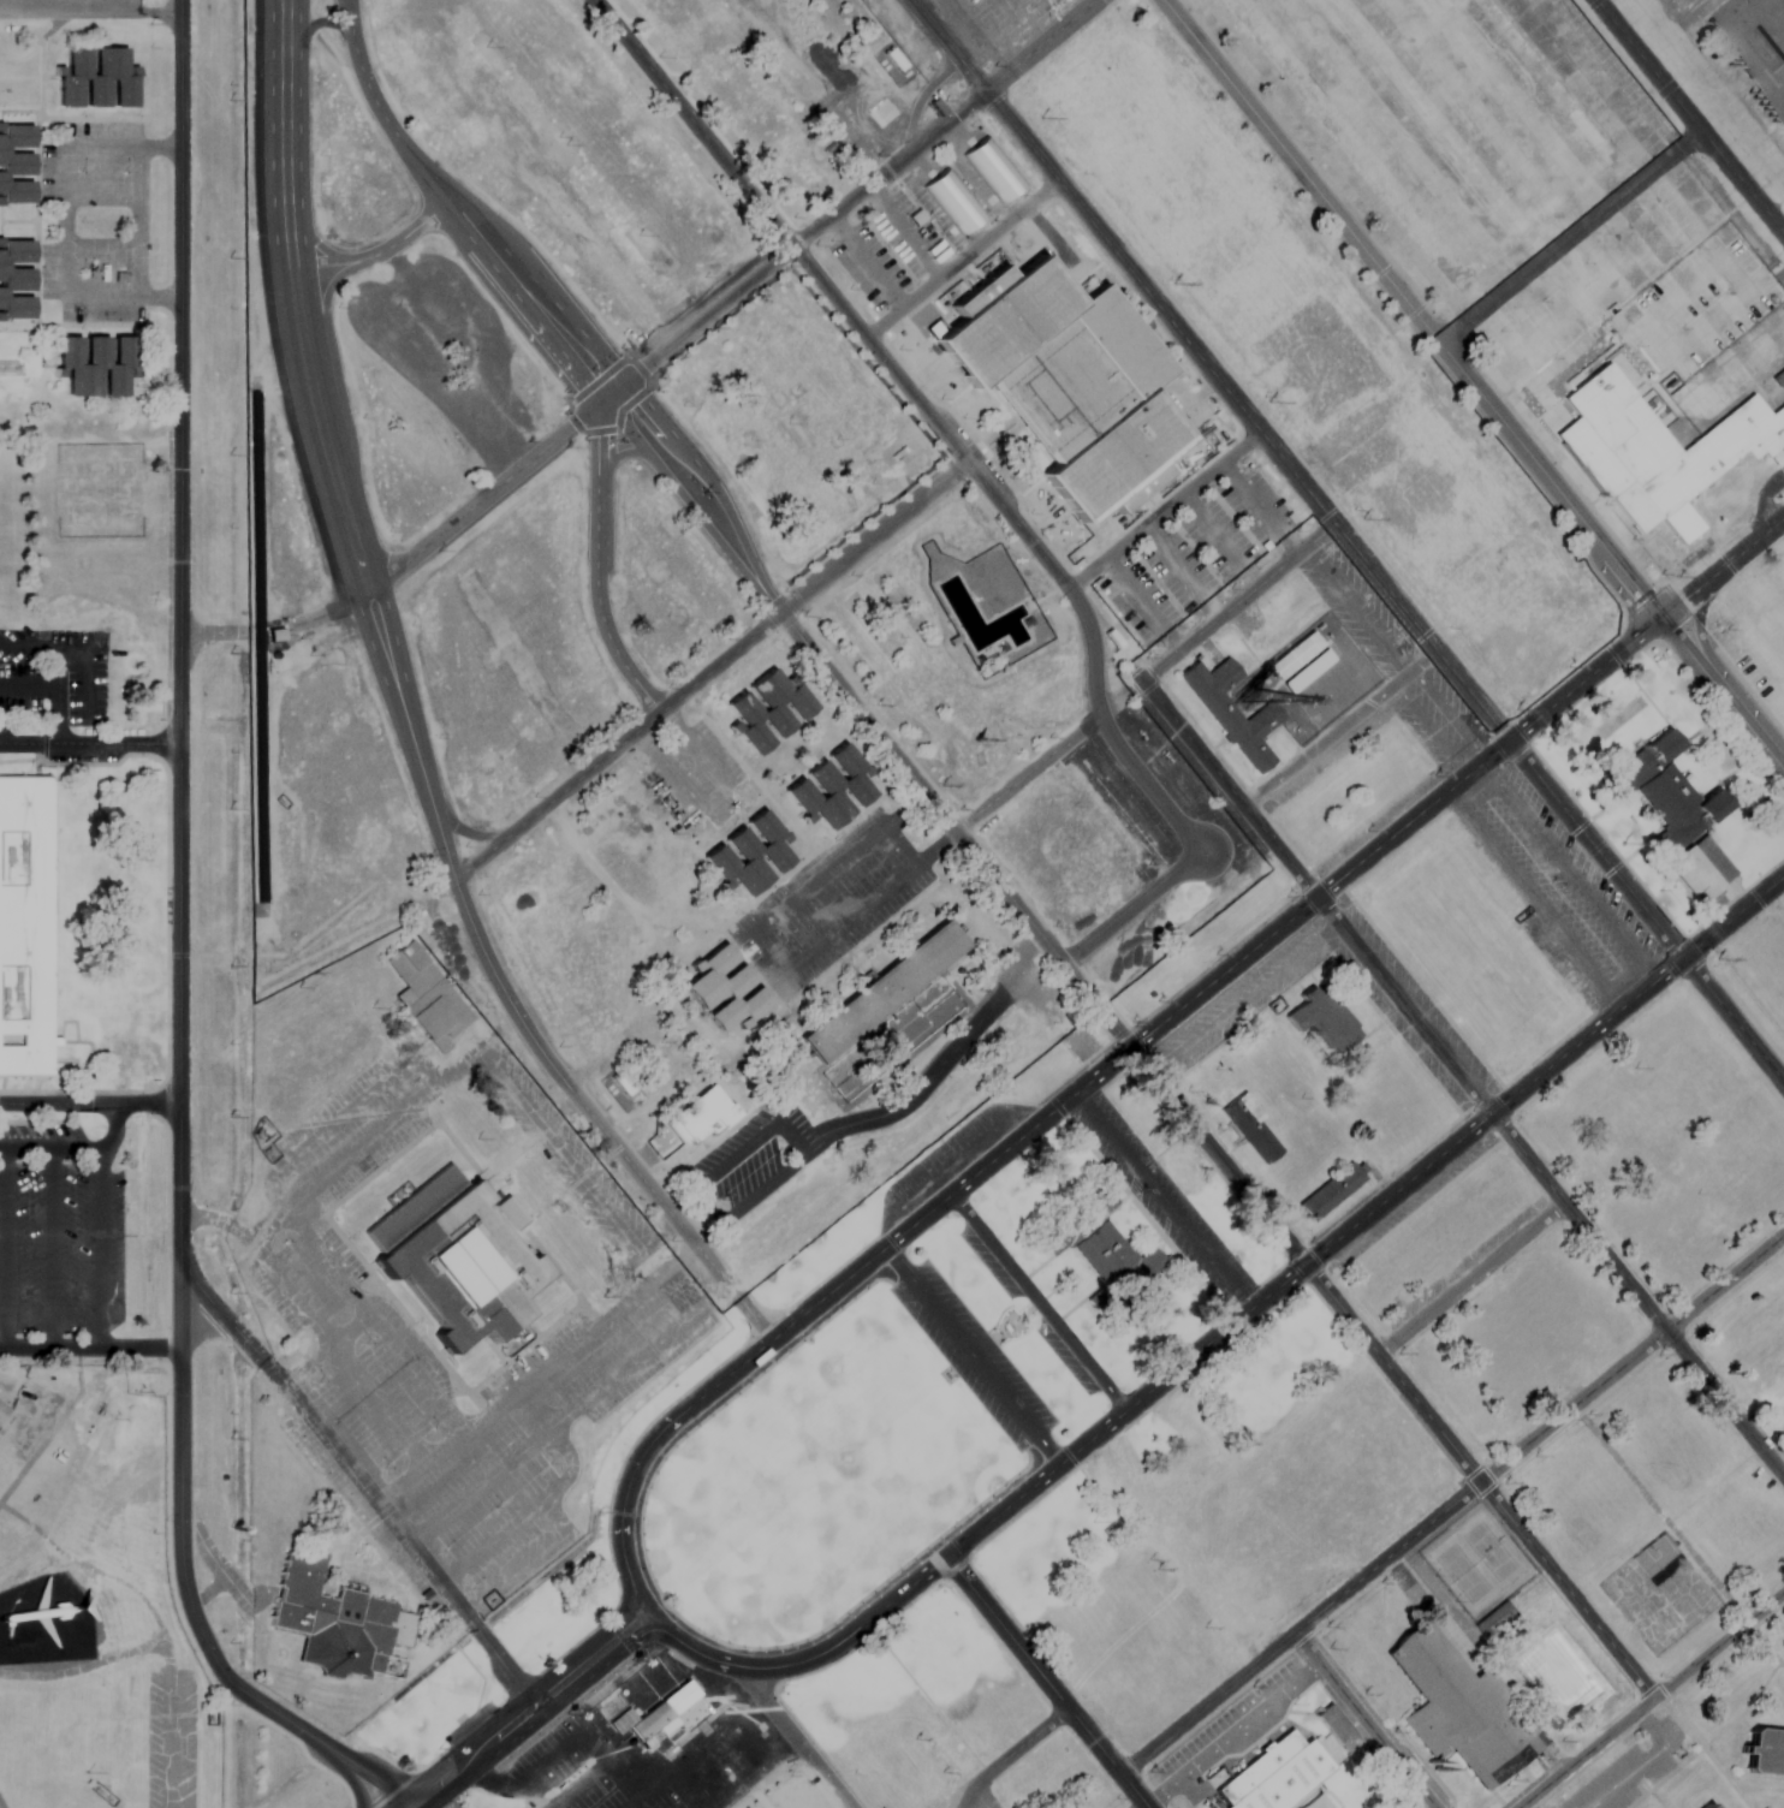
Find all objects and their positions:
road: (89, 11)
road: (1643, 17)
road: (1667, 26)
building: (1755, 43)
road: (1029, 52)
building: (99, 82)
road: (369, 90)
road: (1688, 118)
building: (16, 167)
road: (1771, 194)
road: (65, 226)
road: (1568, 238)
road: (371, 251)
building: (16, 280)
road: (860, 331)
building: (97, 362)
building: (1778, 376)
building: (1068, 381)
road: (1470, 387)
road: (616, 389)
road: (323, 450)
building: (1663, 451)
road: (1346, 542)
road: (599, 564)
road: (1720, 567)
road: (759, 587)
road: (1229, 608)
road: (1357, 608)
road: (212, 634)
building: (1301, 662)
road: (54, 686)
building: (768, 708)
building: (1232, 710)
road: (1337, 728)
road: (89, 739)
building: (1666, 745)
road: (1041, 761)
building: (1630, 774)
building: (832, 789)
building: (1679, 808)
road: (464, 832)
road: (517, 833)
building: (750, 855)
building: (1702, 869)
road: (1568, 873)
road: (1533, 898)
building: (24, 927)
road: (179, 956)
road: (762, 957)
building: (725, 992)
building: (885, 994)
building: (426, 998)
building: (1324, 1013)
road: (1455, 1069)
road: (1072, 1095)
road: (89, 1102)
building: (700, 1116)
road: (114, 1130)
building: (1249, 1130)
road: (49, 1153)
building: (1330, 1190)
road: (1162, 1201)
parking lot: (61, 1241)
road: (2, 1250)
building: (1100, 1250)
road: (50, 1251)
road: (100, 1251)
building: (456, 1259)
road: (1470, 1279)
road: (1037, 1302)
road: (754, 1319)
park: (1005, 1326)
flagpole: (867, 1327)
road: (1220, 1332)
road: (89, 1349)
road: (1374, 1352)
road: (971, 1356)
building: (4, 1415)
park: (817, 1480)
road: (361, 1485)
road: (1451, 1504)
building: (339, 1620)
road: (1045, 1683)
road: (600, 1691)
road: (1652, 1699)
building: (1459, 1711)
building: (644, 1714)
road: (1363, 1720)
road: (518, 1721)
building: (1337, 1727)
road: (1230, 1733)
road: (792, 1737)
building: (1765, 1753)
road: (1009, 1754)
road: (769, 1762)
road: (590, 1770)
building: (1275, 1774)
road: (1428, 1806)
building: (1708, 1806)

